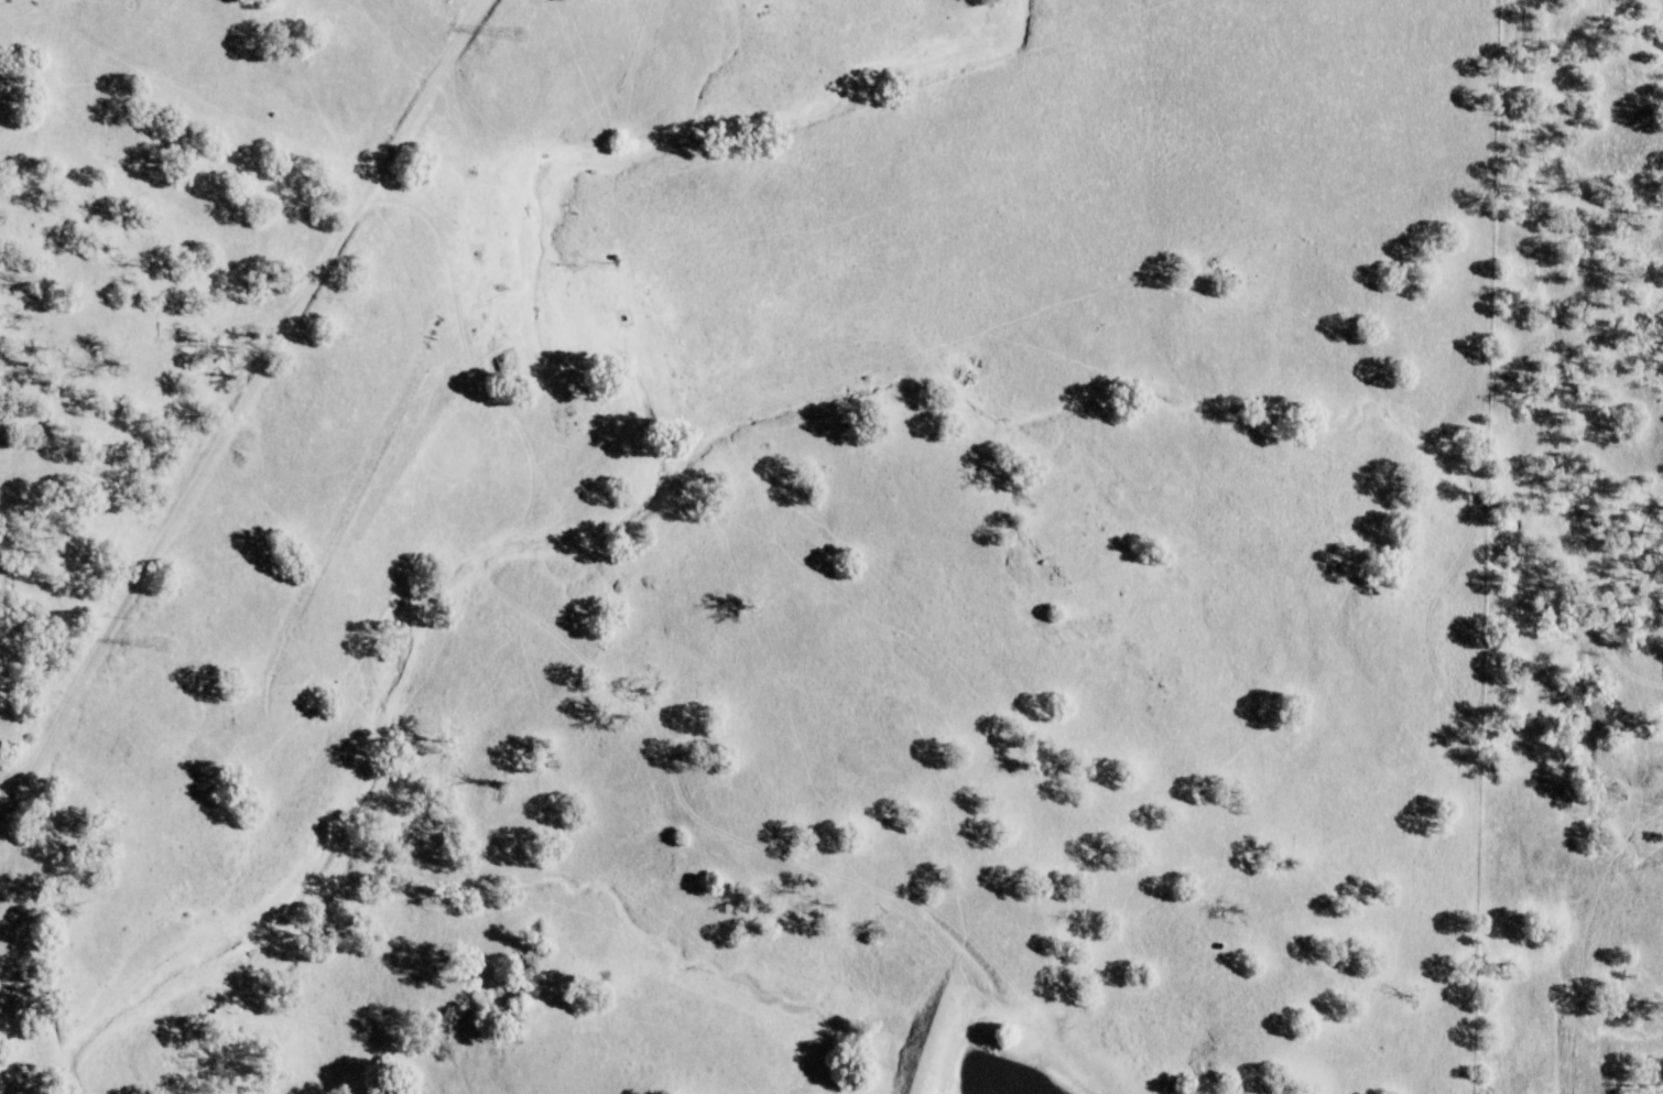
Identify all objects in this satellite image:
power tower: (524, 34)
power tower: (173, 643)

